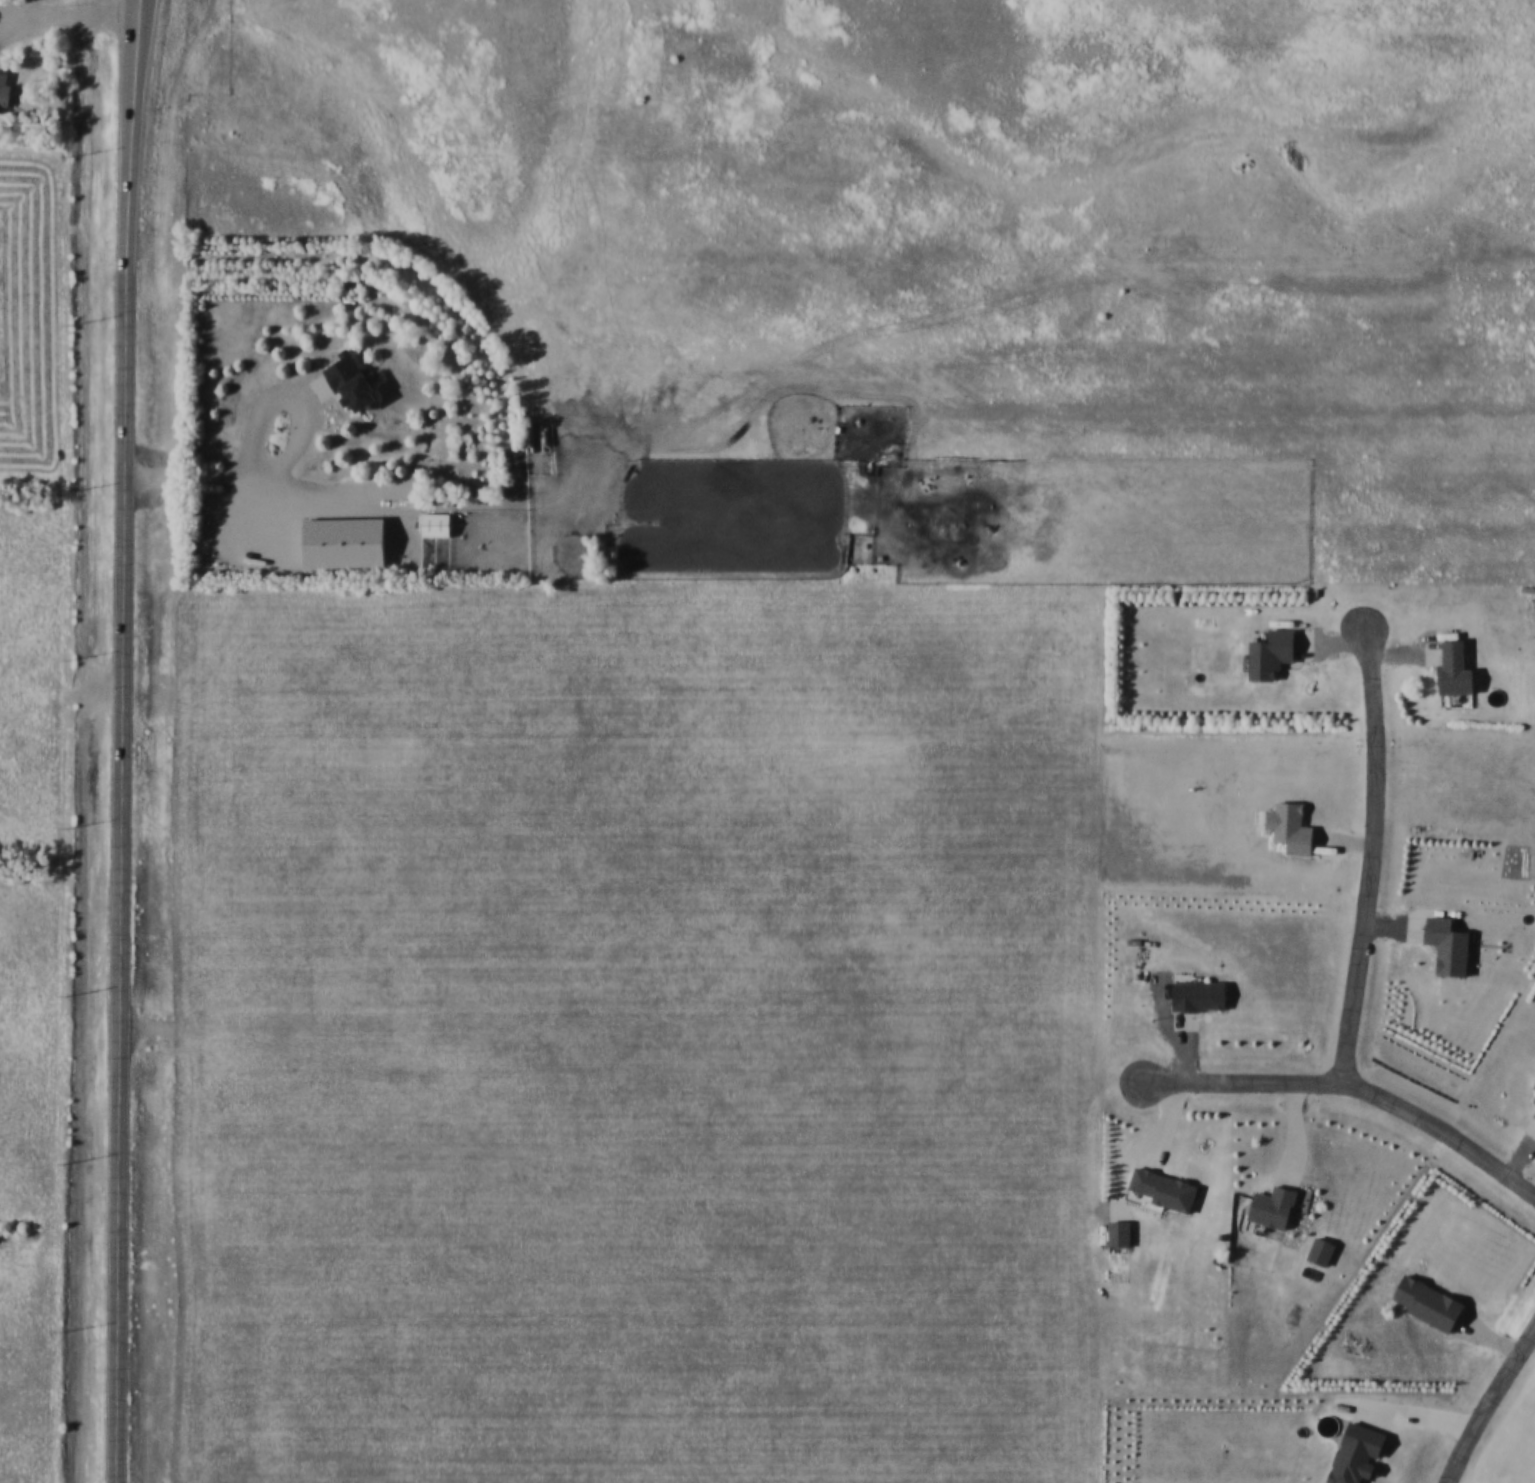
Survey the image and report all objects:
road: (64, 20)
building: (5, 89)
building: (356, 380)
road: (291, 391)
road: (275, 481)
building: (438, 523)
road: (122, 635)
building: (1267, 652)
building: (1450, 668)
building: (1286, 828)
road: (1374, 857)
building: (1444, 944)
building: (1195, 994)
building: (1533, 1085)
road: (1349, 1089)
building: (1533, 1099)
building: (1533, 1113)
building: (1159, 1189)
building: (1269, 1207)
building: (1115, 1232)
building: (1424, 1303)
road: (118, 1377)
road: (1489, 1406)
building: (1352, 1454)

